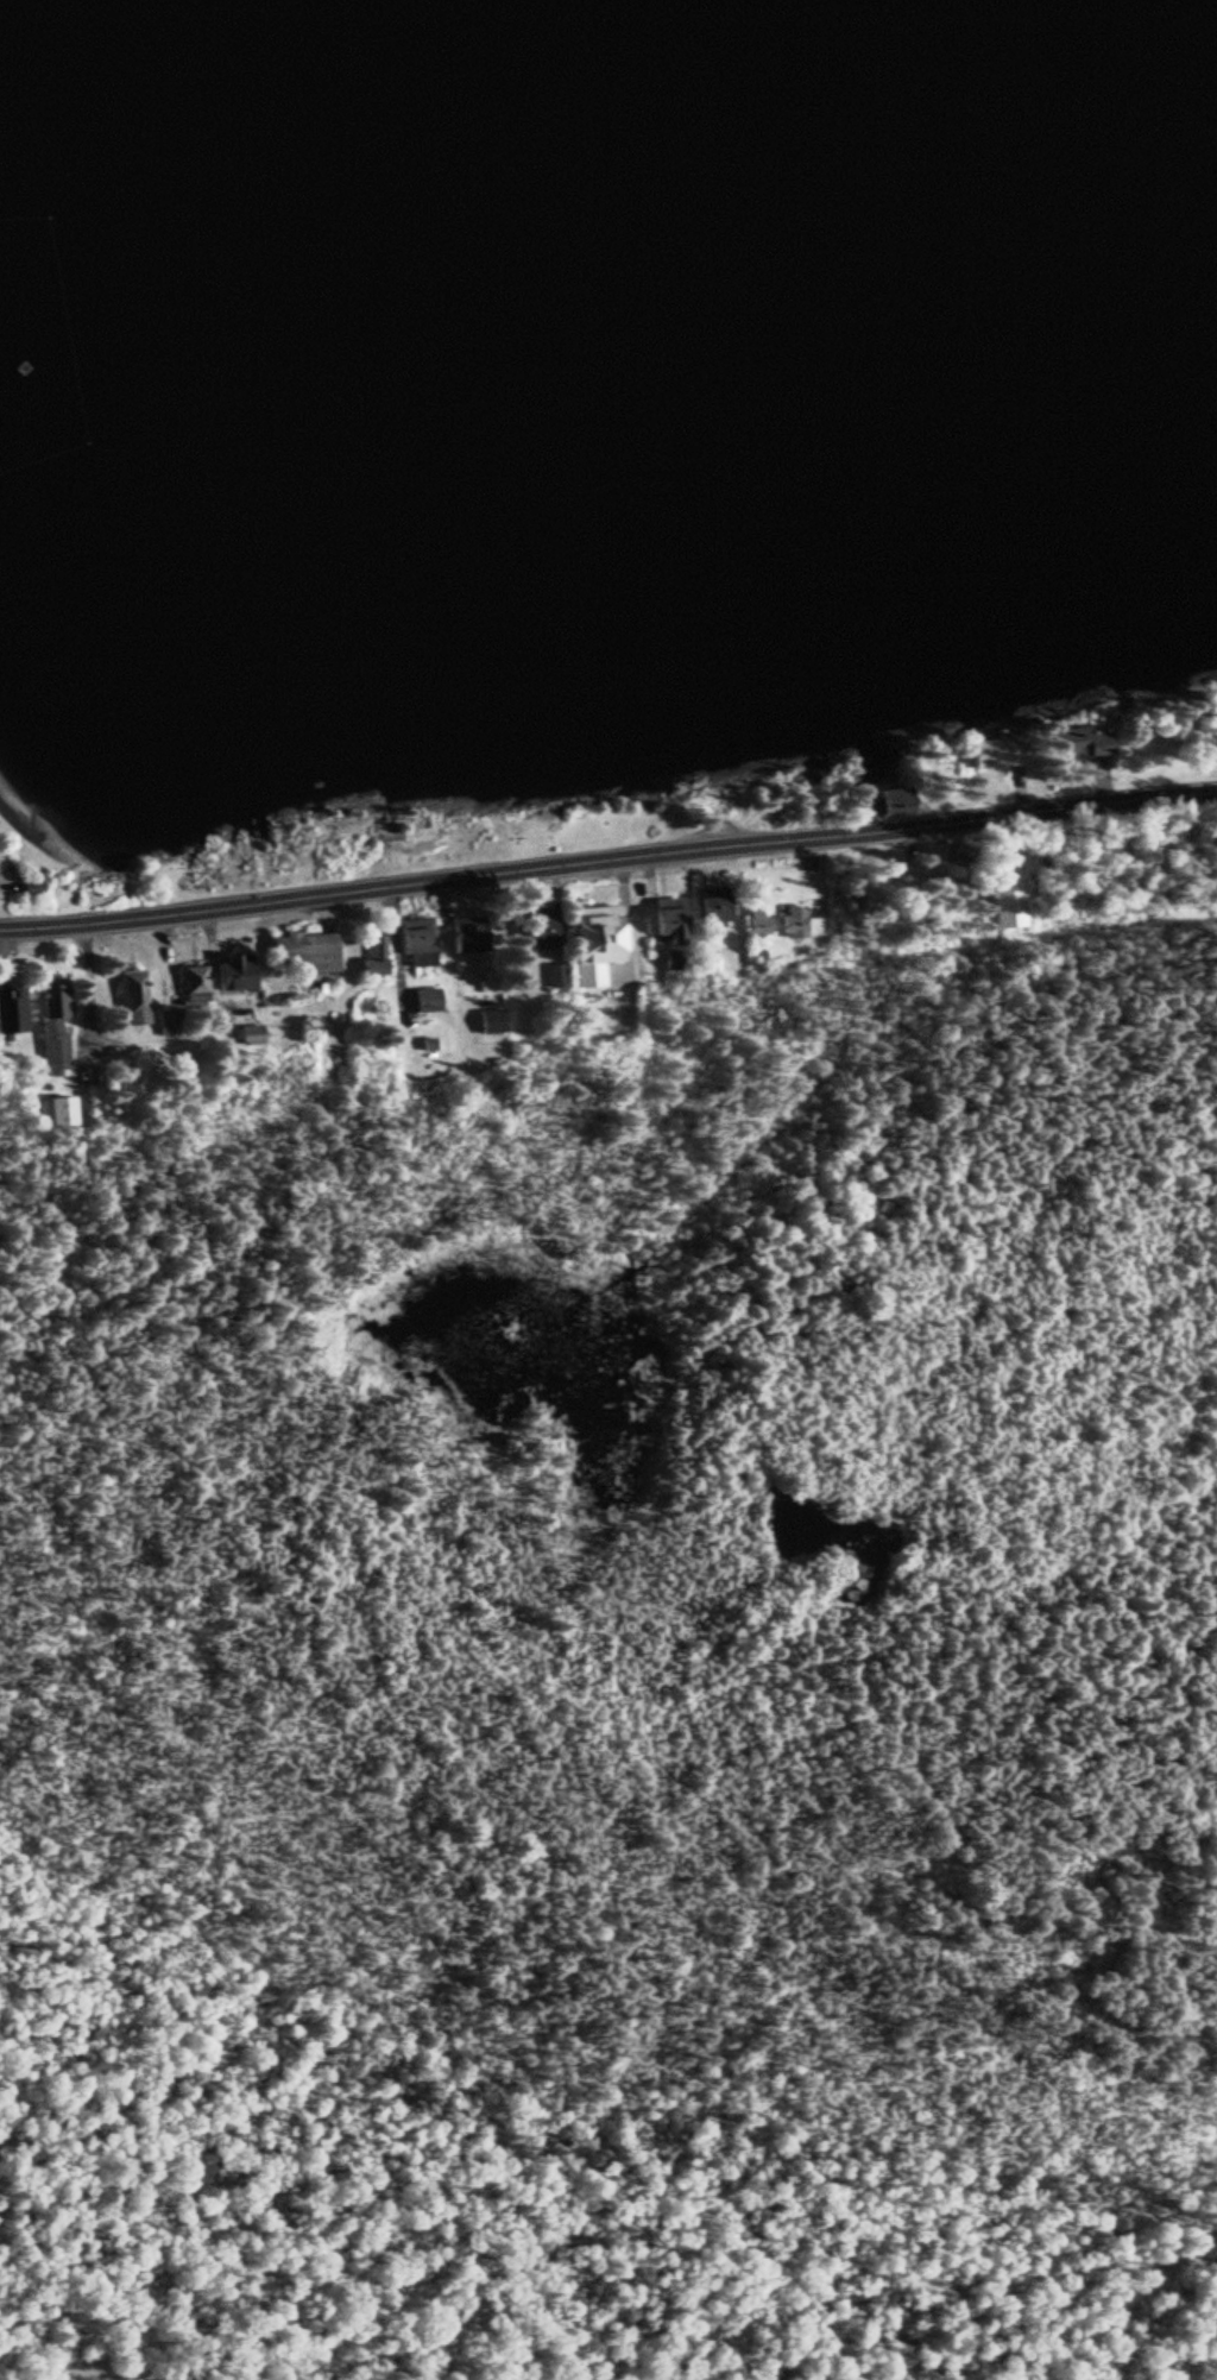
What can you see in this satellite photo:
building: (1073, 745)
building: (883, 804)
road: (618, 858)
building: (1008, 902)
building: (712, 912)
building: (668, 924)
building: (794, 924)
building: (758, 927)
road: (11, 932)
building: (540, 933)
building: (467, 938)
building: (417, 944)
building: (593, 946)
building: (301, 957)
building: (372, 961)
building: (555, 978)
building: (215, 982)
building: (133, 1001)
building: (427, 1003)
building: (6, 1013)
building: (492, 1024)
building: (50, 1030)
building: (247, 1038)
building: (56, 1114)
road: (63, 2367)

